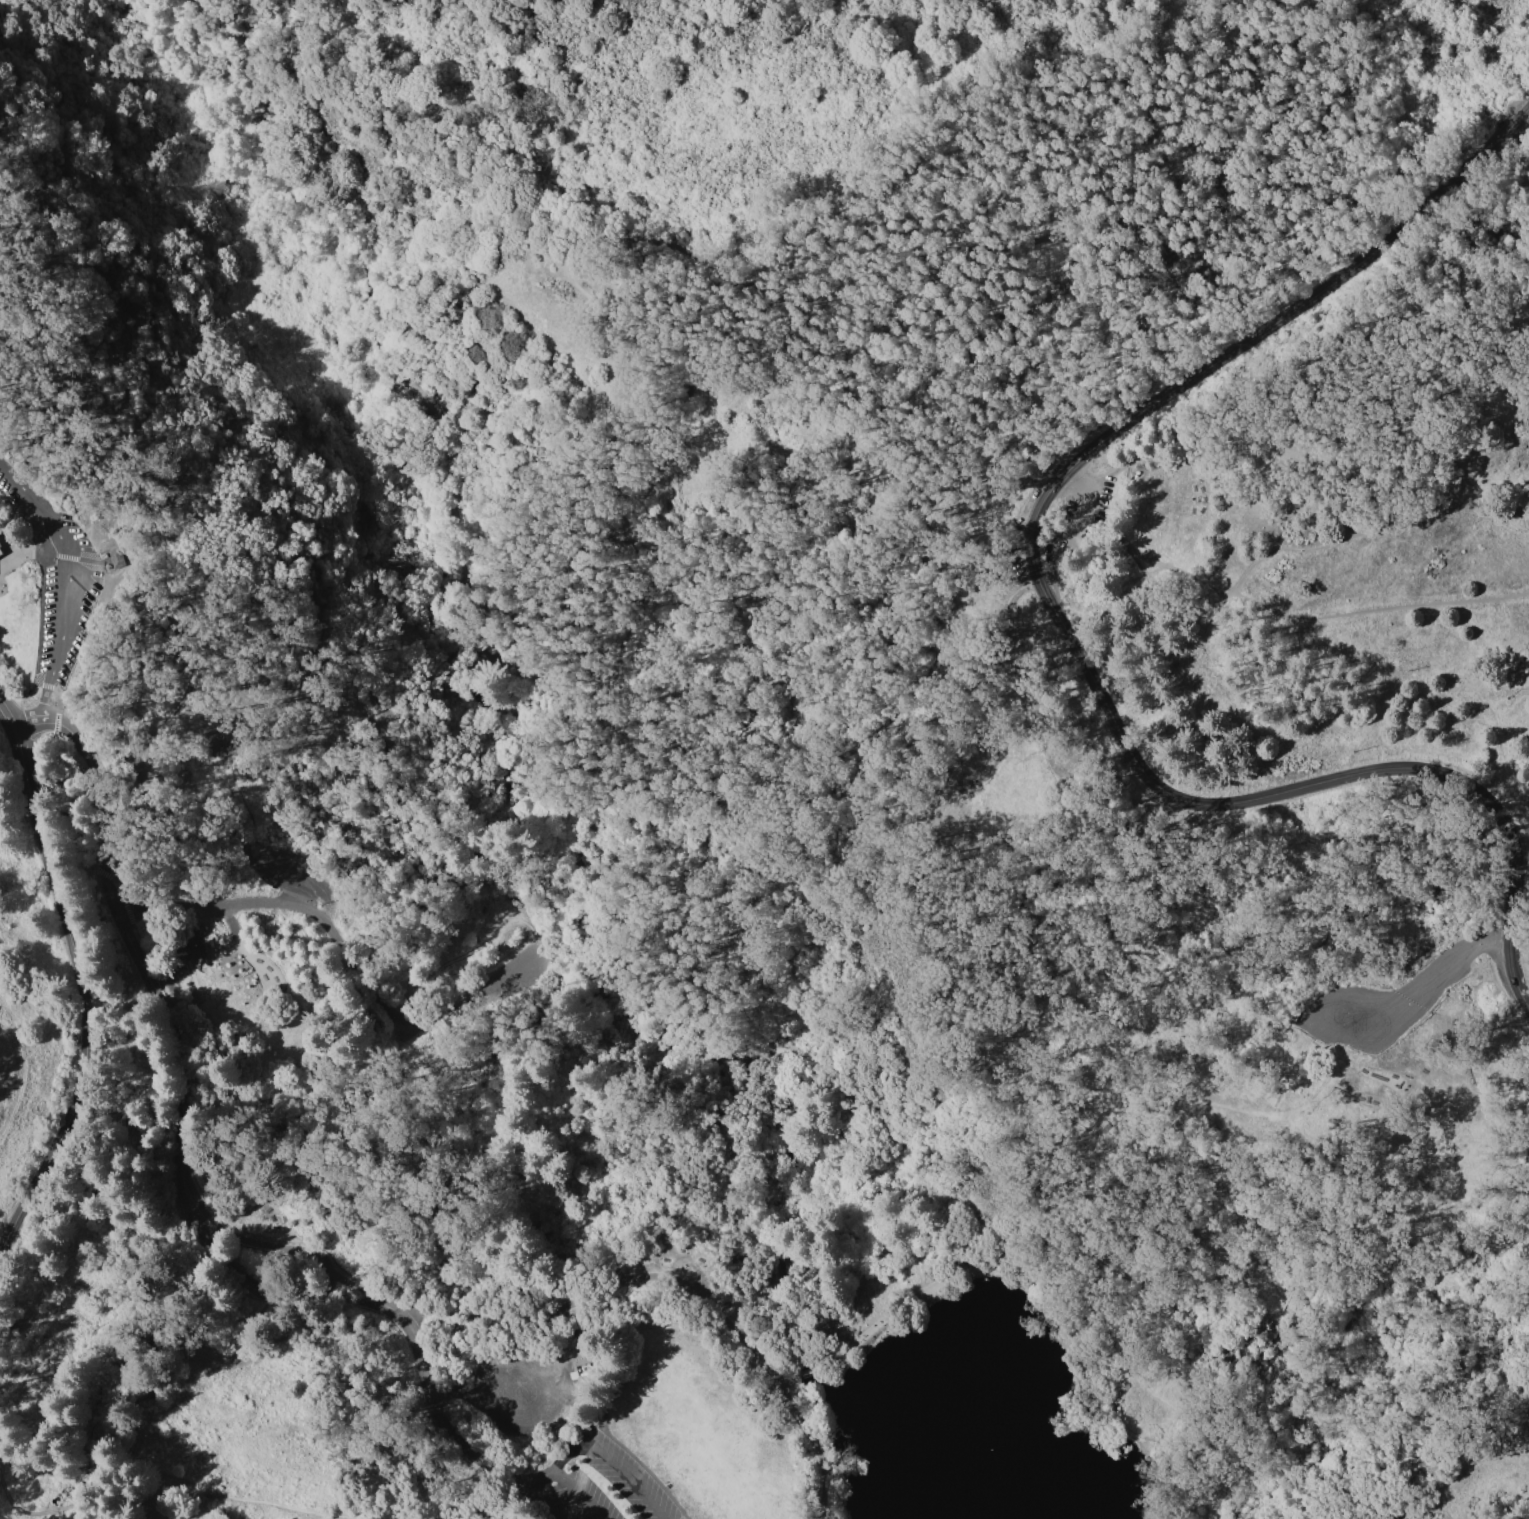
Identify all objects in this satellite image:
road: (1504, 92)
road: (1522, 117)
road: (1522, 125)
road: (19, 254)
road: (680, 254)
road: (61, 320)
road: (1505, 355)
road: (147, 420)
road: (283, 435)
road: (436, 463)
parking lot: (1086, 496)
road: (1418, 505)
road: (20, 508)
building: (0, 545)
building: (0, 553)
road: (53, 555)
building: (120, 556)
road: (68, 586)
road: (1264, 607)
parking lot: (65, 610)
road: (1066, 631)
road: (165, 655)
road: (1021, 665)
road: (9, 743)
parking lot: (162, 787)
road: (102, 790)
parking lot: (292, 870)
road: (298, 872)
parking lot: (219, 912)
road: (230, 922)
road: (576, 932)
road: (355, 962)
parking lot: (529, 964)
road: (83, 986)
road: (1434, 988)
parking lot: (1392, 1004)
road: (169, 1020)
road: (22, 1079)
road: (302, 1118)
road: (177, 1151)
road: (855, 1179)
road: (660, 1216)
road: (915, 1251)
road: (686, 1279)
road: (229, 1324)
road: (563, 1331)
road: (834, 1357)
road: (809, 1372)
dam: (806, 1375)
road: (791, 1378)
road: (480, 1387)
parking lot: (525, 1391)
road: (1104, 1408)
road: (436, 1411)
road: (597, 1423)
road: (134, 1428)
road: (585, 1447)
road: (813, 1447)
road: (152, 1466)
road: (1467, 1470)
road: (648, 1471)
parking lot: (597, 1484)
road: (576, 1496)
road: (332, 1517)

